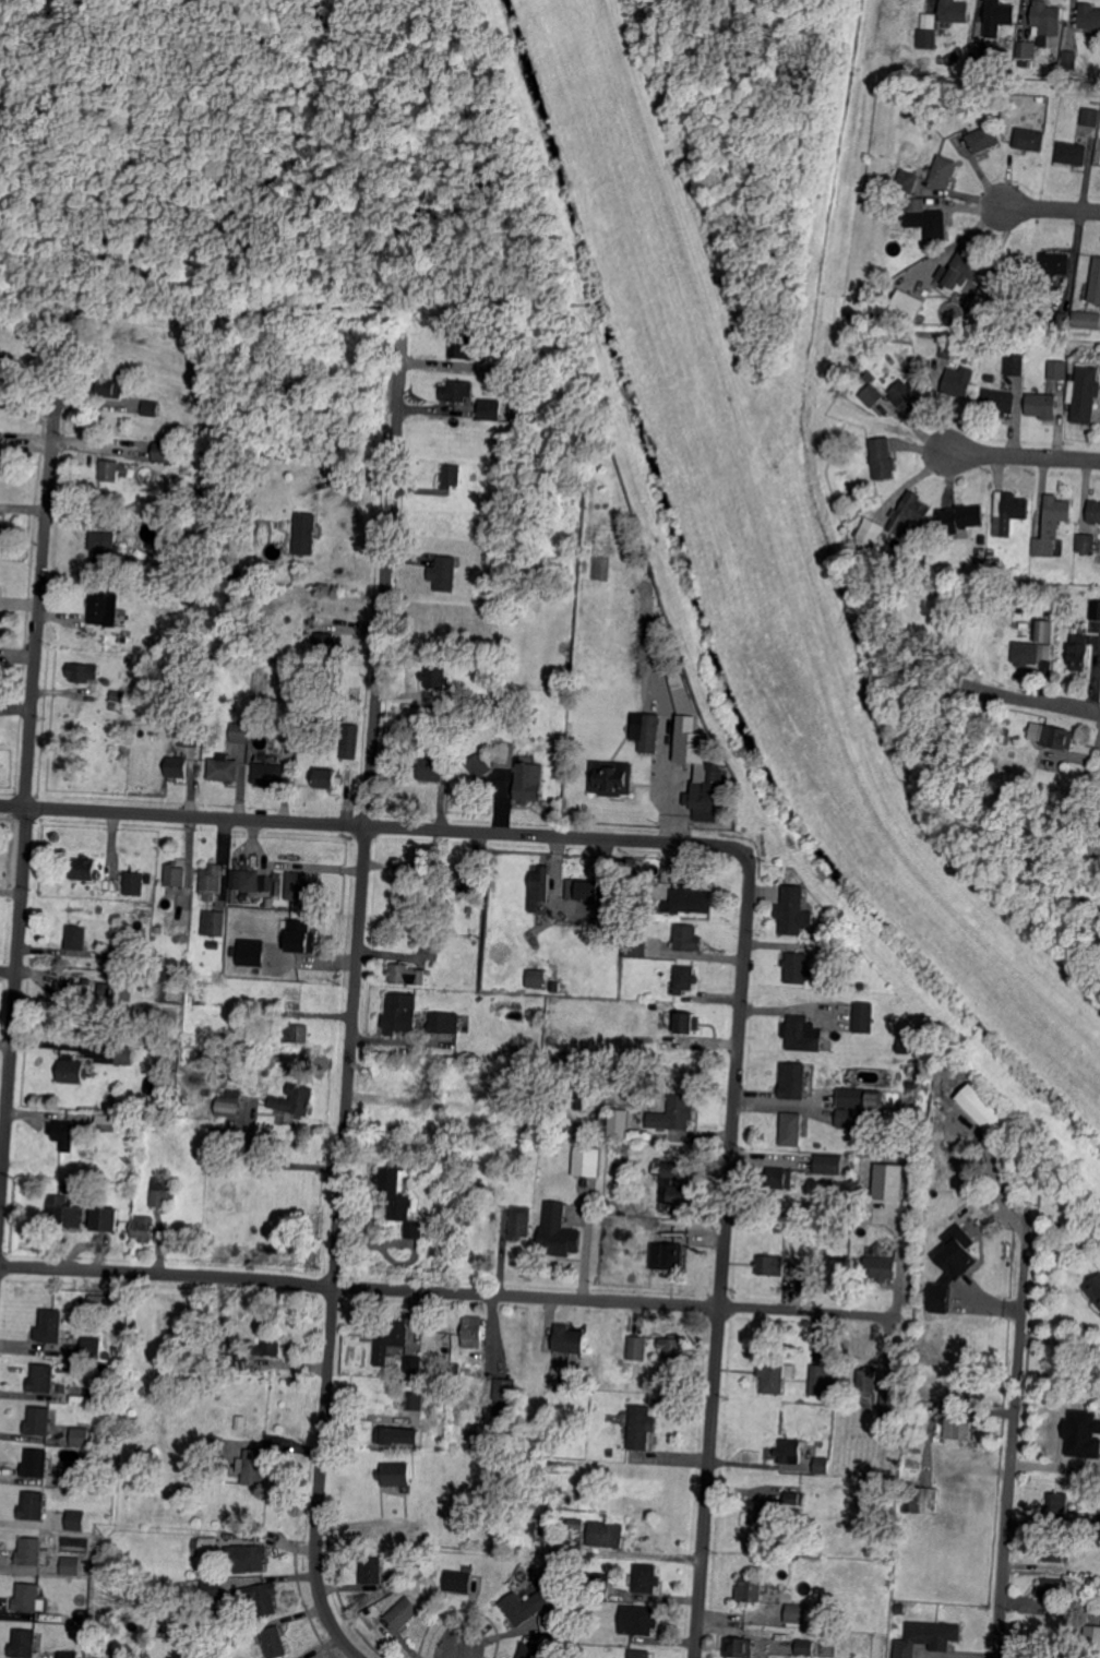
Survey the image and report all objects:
building: (954, 11)
building: (1000, 16)
building: (1089, 17)
building: (1048, 19)
building: (929, 32)
building: (1028, 49)
building: (979, 50)
building: (1024, 63)
building: (1068, 65)
building: (1091, 117)
building: (984, 139)
building: (1030, 139)
building: (1073, 153)
building: (944, 170)
building: (908, 180)
road: (1052, 208)
building: (925, 218)
building: (1054, 264)
building: (962, 269)
building: (1005, 282)
building: (1095, 282)
building: (987, 294)
building: (907, 305)
building: (848, 315)
building: (1059, 319)
building: (1090, 319)
building: (458, 345)
building: (947, 349)
building: (1016, 366)
building: (2, 367)
building: (1059, 369)
building: (871, 377)
building: (990, 379)
building: (957, 385)
building: (109, 390)
building: (457, 390)
building: (1085, 393)
building: (872, 395)
building: (909, 397)
building: (1000, 402)
building: (1042, 405)
building: (151, 408)
building: (490, 408)
building: (3, 451)
building: (162, 452)
building: (223, 455)
road: (1024, 455)
building: (882, 457)
building: (111, 469)
building: (837, 474)
building: (450, 477)
building: (839, 491)
building: (1095, 511)
building: (909, 512)
building: (1011, 512)
building: (958, 518)
building: (1052, 524)
building: (1, 525)
building: (303, 535)
building: (868, 536)
building: (982, 539)
building: (1087, 542)
building: (103, 549)
building: (893, 558)
building: (992, 565)
building: (992, 572)
building: (445, 573)
road: (21, 603)
building: (1024, 604)
building: (103, 608)
building: (1095, 609)
building: (1026, 627)
building: (174, 631)
building: (1043, 631)
building: (325, 643)
building: (1080, 652)
building: (1026, 653)
building: (83, 672)
building: (435, 676)
building: (117, 696)
road: (1031, 701)
building: (534, 719)
building: (287, 728)
building: (241, 731)
building: (650, 732)
building: (689, 736)
building: (189, 737)
building: (1059, 737)
building: (1005, 739)
building: (350, 741)
building: (505, 754)
building: (479, 766)
building: (177, 767)
building: (224, 768)
building: (432, 768)
building: (268, 774)
building: (327, 777)
building: (612, 778)
road: (26, 780)
building: (529, 782)
building: (706, 794)
road: (374, 825)
building: (1099, 835)
building: (85, 868)
building: (465, 873)
building: (176, 874)
building: (408, 876)
building: (147, 879)
building: (251, 880)
building: (212, 881)
building: (264, 882)
building: (134, 883)
building: (300, 886)
building: (539, 887)
building: (582, 890)
building: (637, 894)
building: (244, 897)
building: (167, 900)
building: (687, 900)
building: (465, 905)
building: (796, 910)
building: (214, 922)
building: (645, 930)
building: (301, 935)
building: (76, 937)
building: (686, 937)
building: (213, 944)
building: (637, 946)
building: (106, 950)
building: (251, 951)
building: (797, 967)
building: (536, 969)
building: (406, 974)
building: (685, 978)
building: (863, 985)
building: (555, 986)
building: (106, 988)
building: (74, 992)
building: (650, 997)
building: (481, 998)
road: (355, 1012)
building: (399, 1012)
building: (864, 1018)
building: (686, 1022)
building: (442, 1023)
building: (262, 1024)
building: (296, 1033)
building: (803, 1034)
building: (904, 1043)
building: (175, 1050)
building: (476, 1054)
building: (123, 1055)
building: (72, 1070)
building: (215, 1077)
building: (792, 1080)
building: (418, 1085)
building: (912, 1085)
building: (854, 1097)
building: (294, 1098)
building: (578, 1100)
building: (229, 1102)
building: (981, 1109)
building: (478, 1112)
building: (673, 1114)
building: (394, 1118)
building: (857, 1119)
building: (110, 1123)
building: (618, 1124)
building: (792, 1129)
building: (225, 1133)
building: (63, 1134)
building: (820, 1144)
building: (587, 1161)
road: (268, 1164)
building: (827, 1165)
building: (779, 1179)
building: (157, 1180)
building: (888, 1180)
building: (158, 1185)
building: (673, 1185)
building: (398, 1198)
building: (162, 1200)
building: (505, 1202)
building: (612, 1204)
building: (859, 1206)
building: (630, 1207)
building: (63, 1212)
building: (105, 1220)
building: (521, 1220)
building: (456, 1222)
building: (651, 1224)
building: (913, 1226)
building: (143, 1228)
building: (559, 1232)
building: (666, 1255)
road: (725, 1255)
building: (769, 1265)
building: (952, 1266)
building: (798, 1267)
building: (880, 1267)
building: (1095, 1290)
road: (454, 1292)
building: (50, 1326)
building: (474, 1331)
building: (393, 1334)
building: (569, 1340)
road: (1060, 1340)
building: (271, 1344)
building: (639, 1345)
building: (672, 1346)
building: (92, 1348)
building: (106, 1353)
building: (241, 1359)
building: (414, 1363)
building: (776, 1375)
building: (43, 1377)
building: (98, 1377)
building: (824, 1380)
building: (866, 1382)
building: (62, 1388)
building: (98, 1394)
building: (504, 1395)
building: (412, 1400)
building: (894, 1405)
building: (432, 1406)
building: (41, 1421)
building: (641, 1428)
building: (959, 1429)
building: (1081, 1433)
building: (80, 1435)
building: (395, 1436)
road: (1014, 1436)
building: (215, 1445)
building: (790, 1451)
building: (146, 1456)
building: (36, 1463)
building: (226, 1463)
building: (912, 1463)
building: (824, 1465)
building: (254, 1468)
building: (395, 1474)
building: (74, 1475)
building: (796, 1498)
building: (920, 1500)
building: (33, 1505)
building: (1056, 1507)
building: (758, 1512)
building: (1099, 1518)
building: (76, 1520)
building: (409, 1524)
building: (576, 1524)
building: (528, 1528)
building: (606, 1534)
building: (208, 1547)
building: (1055, 1550)
building: (32, 1552)
building: (249, 1559)
building: (772, 1560)
building: (71, 1565)
building: (468, 1567)
building: (371, 1570)
building: (646, 1578)
building: (1089, 1578)
building: (458, 1581)
building: (599, 1586)
building: (751, 1588)
building: (1053, 1588)
building: (212, 1589)
building: (26, 1597)
building: (261, 1598)
building: (523, 1607)
building: (403, 1612)
building: (796, 1614)
building: (637, 1620)
building: (551, 1621)
building: (246, 1630)
building: (391, 1630)
building: (934, 1634)
building: (1091, 1638)
building: (274, 1642)
building: (25, 1643)
building: (739, 1647)
building: (805, 1647)
building: (528, 1651)
building: (901, 1653)
road: (457, 1654)
building: (639, 1654)
building: (69, 1655)
building: (290, 1657)

